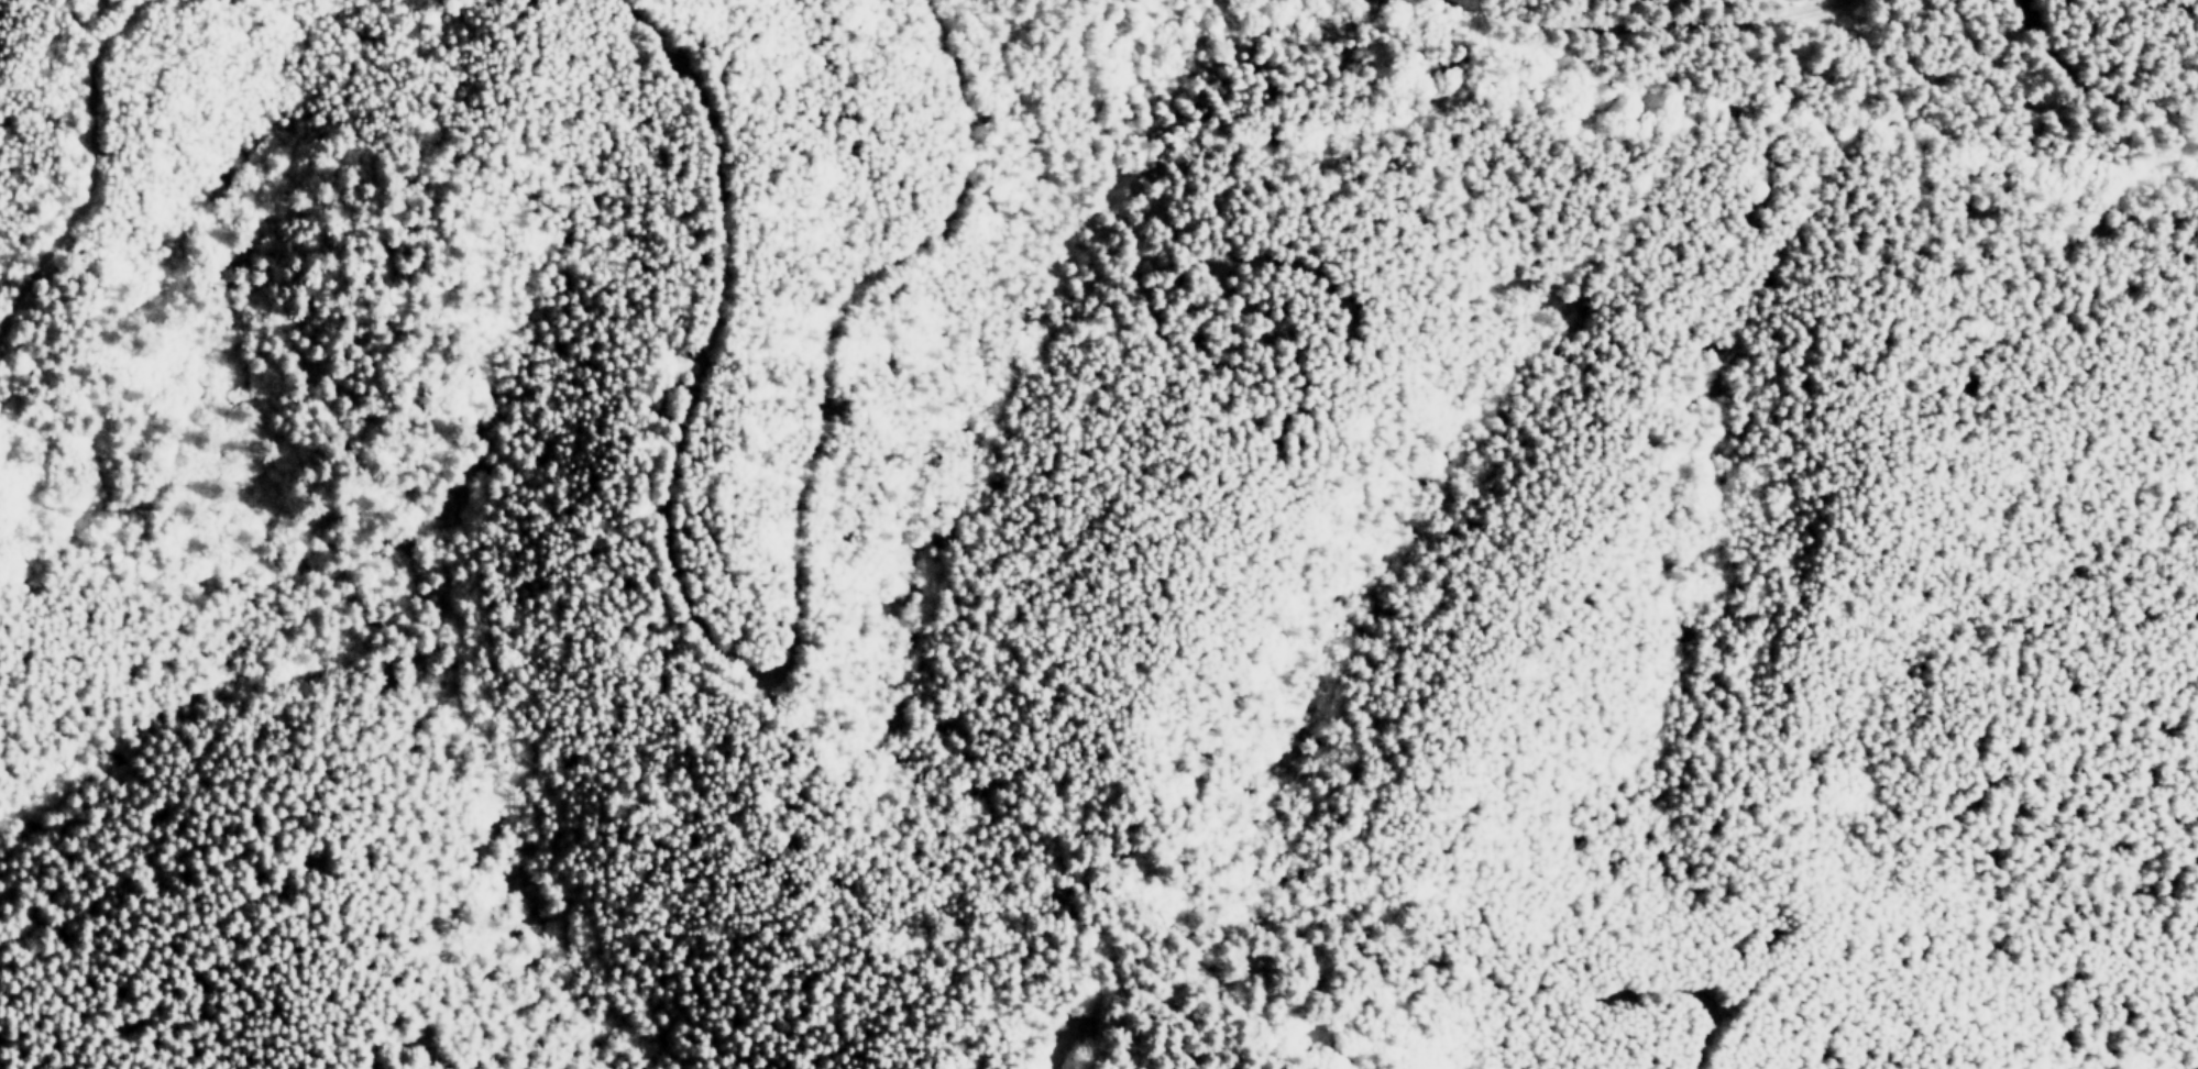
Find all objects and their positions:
road: (1655, 22)
road: (2088, 85)
road: (89, 159)
road: (759, 680)
road: (1691, 990)
road: (1069, 1046)

